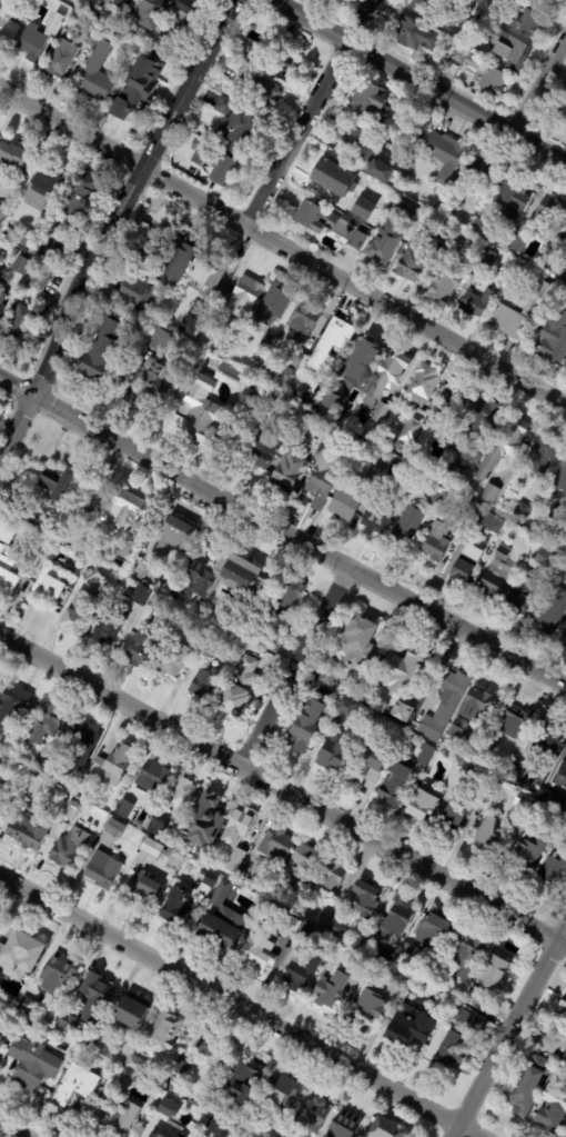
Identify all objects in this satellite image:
building: (127, 0)
building: (44, 1)
building: (501, 1)
building: (546, 1)
building: (471, 2)
building: (330, 3)
building: (420, 7)
building: (182, 10)
building: (146, 11)
building: (465, 14)
building: (7, 20)
building: (526, 23)
building: (53, 24)
building: (414, 36)
building: (91, 39)
building: (467, 42)
building: (31, 44)
building: (102, 46)
building: (160, 47)
building: (512, 50)
building: (458, 58)
building: (62, 59)
building: (281, 59)
building: (143, 73)
building: (486, 78)
road: (425, 81)
building: (97, 84)
building: (259, 88)
building: (564, 89)
road: (542, 91)
building: (367, 98)
building: (130, 102)
road: (310, 110)
building: (428, 111)
building: (564, 116)
building: (236, 123)
building: (417, 137)
building: (361, 148)
building: (444, 156)
building: (14, 158)
building: (405, 160)
building: (213, 161)
building: (483, 172)
building: (343, 182)
building: (43, 184)
building: (512, 193)
road: (133, 197)
building: (449, 199)
building: (78, 200)
building: (402, 210)
building: (2, 211)
building: (548, 217)
building: (331, 221)
building: (482, 229)
building: (563, 232)
building: (443, 235)
building: (26, 240)
road: (284, 241)
building: (457, 241)
building: (386, 245)
building: (144, 246)
building: (518, 246)
building: (50, 249)
building: (488, 257)
building: (174, 262)
building: (20, 265)
building: (412, 265)
building: (206, 270)
building: (562, 271)
building: (42, 278)
building: (1, 282)
building: (445, 283)
building: (135, 293)
building: (475, 299)
building: (1, 302)
building: (275, 305)
building: (241, 307)
building: (503, 310)
building: (191, 319)
building: (305, 319)
building: (20, 323)
building: (554, 339)
building: (160, 340)
building: (265, 343)
building: (332, 343)
building: (99, 351)
building: (223, 352)
building: (364, 353)
building: (294, 360)
building: (388, 372)
building: (228, 373)
building: (307, 382)
building: (155, 383)
building: (424, 385)
building: (250, 397)
building: (448, 400)
building: (325, 405)
building: (200, 417)
building: (482, 417)
building: (376, 418)
building: (311, 419)
road: (16, 426)
building: (410, 431)
building: (304, 432)
building: (302, 440)
building: (322, 441)
building: (504, 445)
building: (262, 449)
building: (543, 453)
building: (304, 455)
building: (414, 458)
building: (469, 459)
building: (287, 468)
building: (395, 469)
building: (375, 470)
building: (323, 471)
building: (451, 476)
building: (560, 477)
building: (57, 485)
building: (489, 492)
building: (437, 496)
building: (345, 502)
building: (124, 509)
building: (466, 510)
building: (522, 510)
building: (558, 511)
building: (376, 517)
building: (489, 519)
building: (41, 520)
building: (407, 526)
building: (7, 527)
building: (175, 530)
building: (73, 532)
road: (282, 532)
building: (436, 541)
building: (0, 545)
building: (502, 552)
building: (544, 555)
building: (468, 559)
building: (7, 575)
building: (223, 576)
building: (494, 577)
building: (93, 578)
building: (558, 582)
building: (48, 585)
building: (137, 594)
building: (173, 595)
building: (519, 596)
building: (287, 602)
building: (549, 610)
building: (75, 615)
building: (108, 625)
building: (563, 637)
building: (357, 642)
building: (213, 647)
building: (139, 655)
building: (175, 656)
building: (416, 661)
road: (294, 669)
building: (384, 671)
building: (327, 676)
building: (206, 684)
building: (240, 689)
building: (13, 701)
building: (476, 702)
building: (443, 705)
building: (345, 706)
building: (408, 706)
building: (403, 715)
building: (514, 722)
building: (44, 725)
building: (305, 726)
building: (456, 727)
building: (552, 738)
building: (80, 740)
building: (487, 747)
building: (425, 754)
building: (332, 755)
building: (112, 762)
building: (38, 764)
building: (563, 766)
building: (364, 767)
building: (457, 768)
building: (150, 776)
building: (516, 776)
building: (74, 781)
building: (394, 781)
building: (565, 782)
building: (30, 785)
building: (491, 785)
road: (282, 791)
building: (4, 797)
building: (540, 797)
building: (520, 799)
building: (423, 801)
building: (174, 804)
building: (123, 809)
building: (70, 810)
building: (454, 811)
building: (204, 819)
building: (563, 824)
building: (114, 828)
building: (28, 832)
building: (239, 835)
building: (486, 835)
building: (560, 837)
building: (67, 847)
building: (276, 847)
building: (154, 848)
building: (526, 854)
building: (299, 868)
building: (102, 869)
building: (550, 869)
building: (332, 875)
building: (245, 876)
building: (209, 877)
building: (141, 892)
building: (364, 899)
building: (175, 907)
building: (293, 910)
building: (313, 912)
building: (394, 919)
building: (219, 921)
building: (286, 922)
building: (336, 928)
building: (433, 928)
building: (305, 935)
building: (257, 948)
building: (466, 954)
building: (19, 956)
building: (363, 963)
building: (300, 969)
building: (57, 973)
building: (489, 977)
building: (397, 981)
building: (93, 989)
building: (330, 993)
road: (242, 1005)
building: (27, 1006)
building: (562, 1008)
building: (366, 1010)
building: (132, 1013)
building: (466, 1018)
building: (63, 1026)
building: (410, 1029)
road: (511, 1031)
building: (3, 1033)
building: (162, 1033)
building: (181, 1040)
building: (101, 1046)
building: (549, 1046)
building: (210, 1047)
building: (565, 1054)
building: (446, 1057)
building: (133, 1064)
building: (32, 1065)
building: (180, 1070)
building: (558, 1074)
building: (242, 1081)
building: (74, 1086)
building: (282, 1094)
building: (522, 1096)
building: (214, 1105)
building: (166, 1108)
building: (117, 1109)
building: (552, 1113)
building: (311, 1117)
building: (344, 1125)
building: (215, 1128)
building: (391, 1128)
road: (12, 1129)
building: (161, 1133)
building: (181, 1136)
building: (565, 1136)

